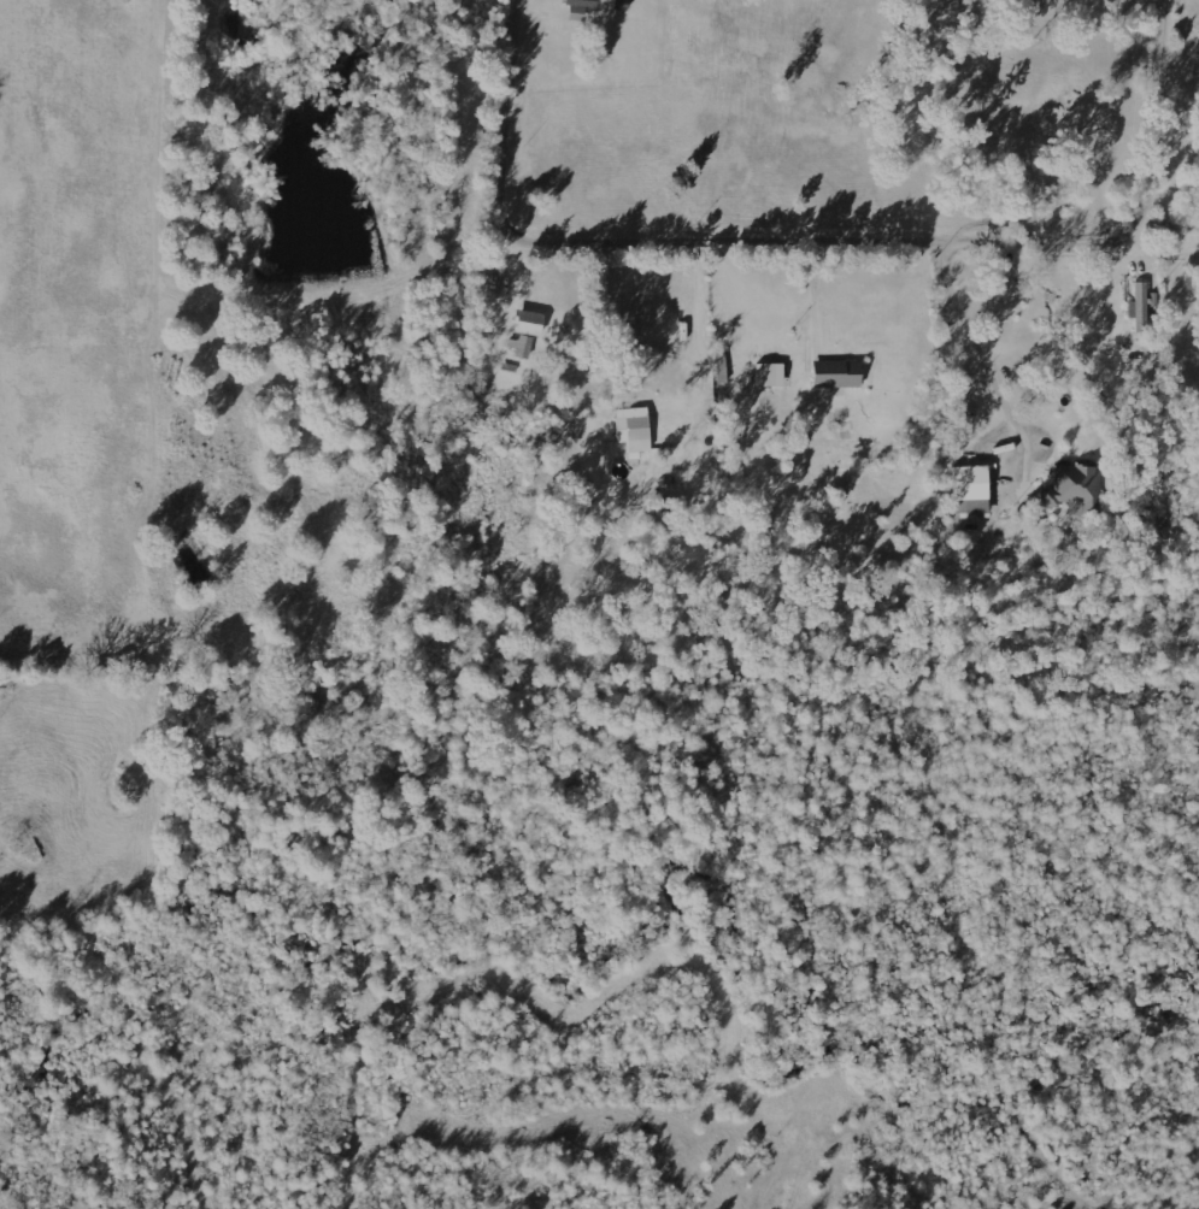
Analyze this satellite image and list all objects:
road: (827, 242)
building: (1141, 307)
building: (530, 322)
road: (701, 371)
building: (839, 373)
building: (771, 375)
building: (635, 429)
building: (972, 489)
building: (1074, 489)

